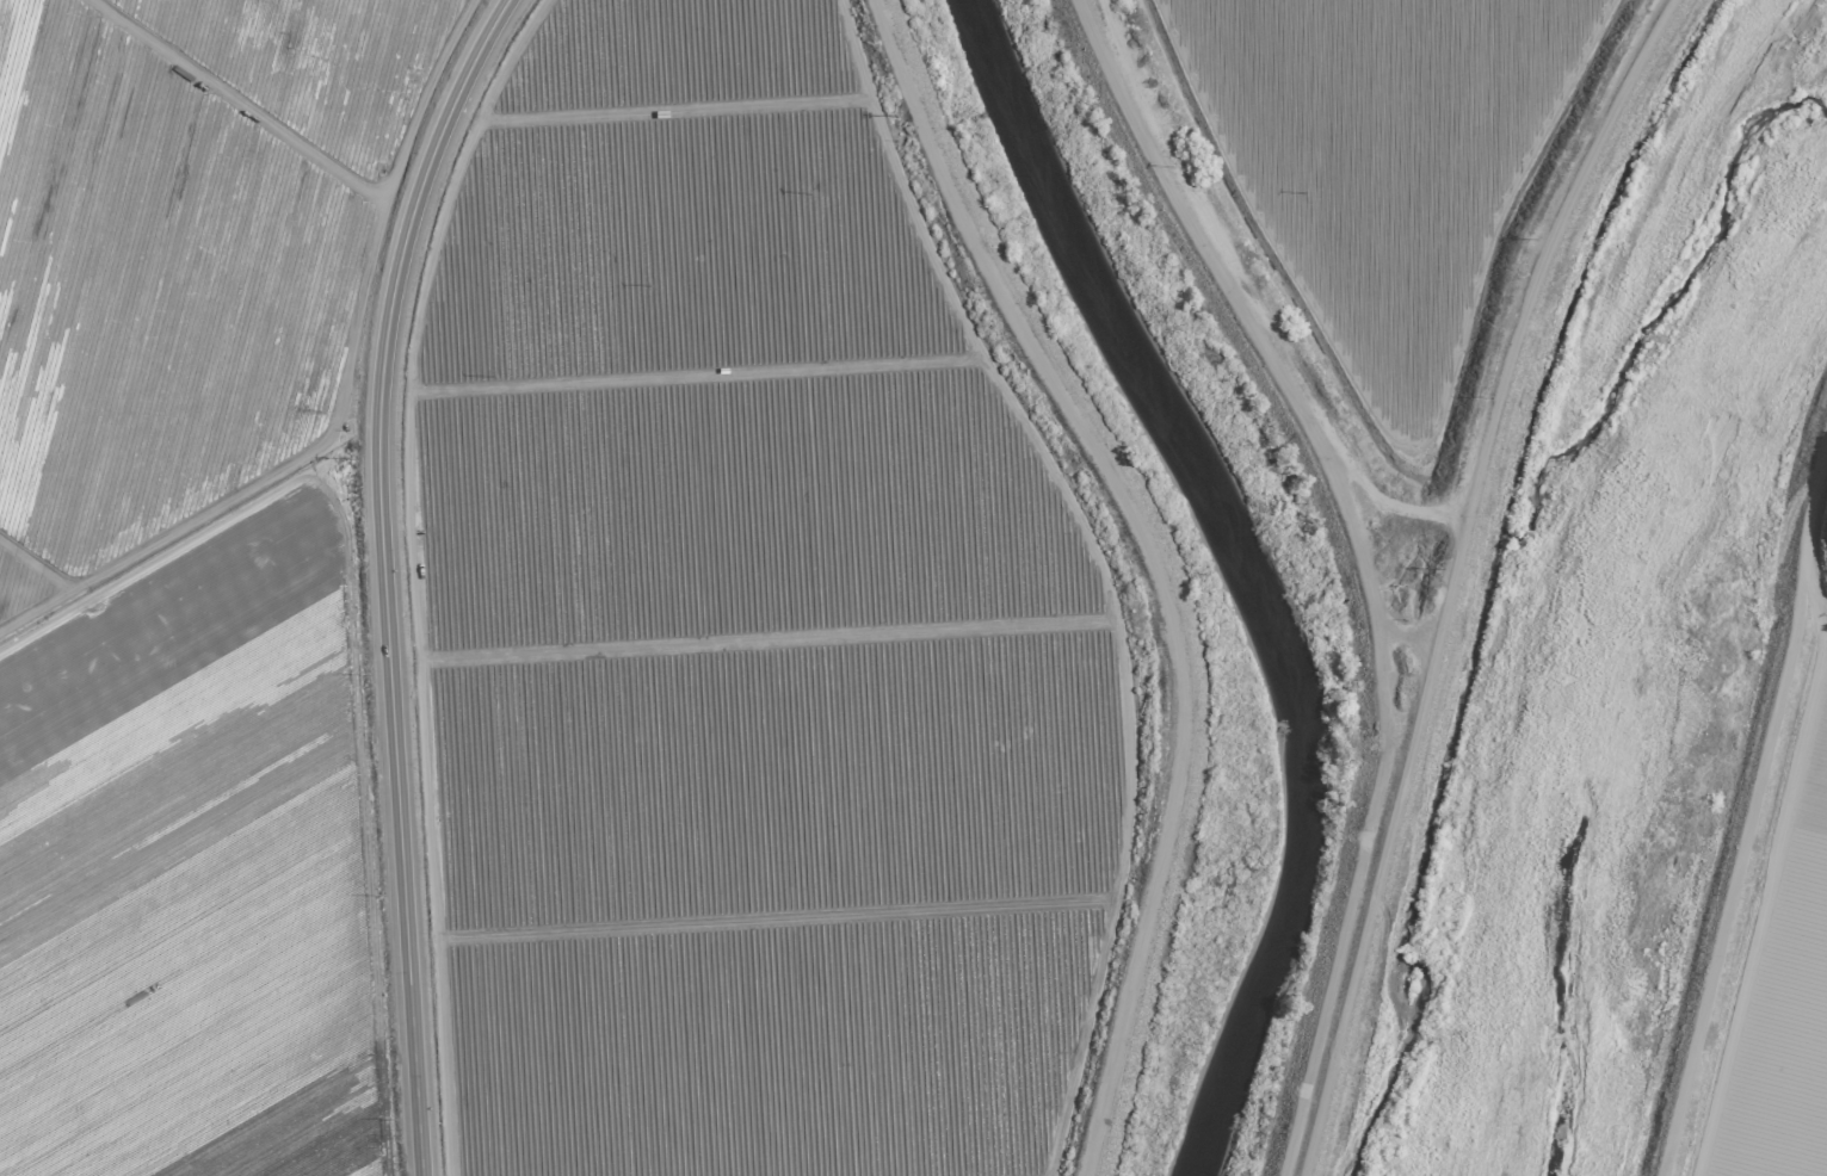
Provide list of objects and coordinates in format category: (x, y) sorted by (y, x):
road: (1795, 500)
crop: (902, 520)
road: (382, 576)
crop: (185, 577)
river: (1562, 604)
road: (1820, 615)
road: (1819, 639)
road: (1747, 893)
crop: (1766, 972)

